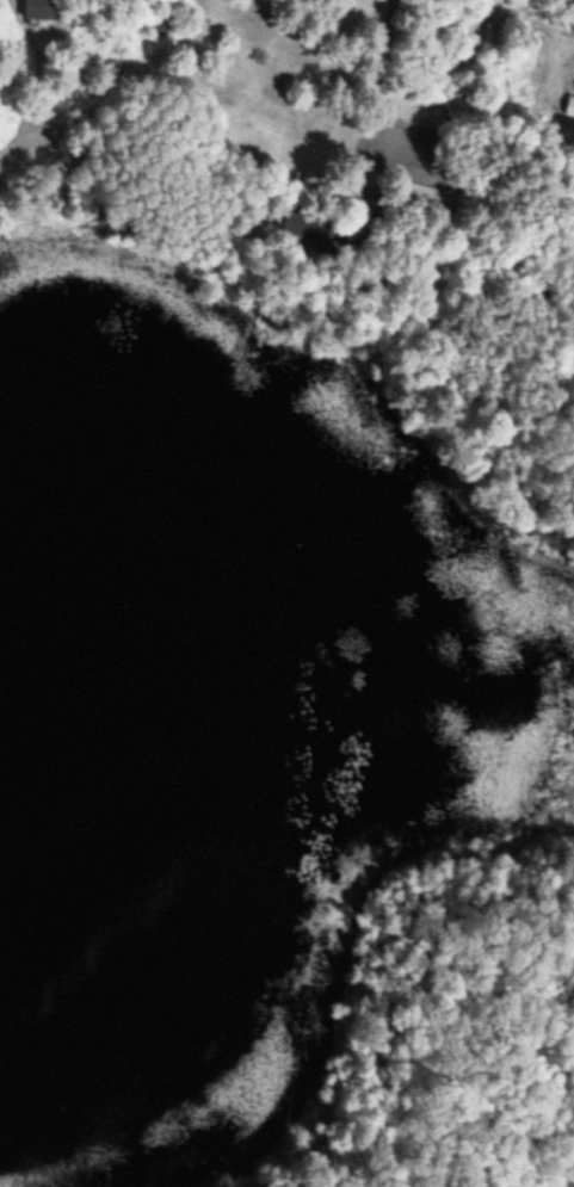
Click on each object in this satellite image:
building: (33, 10)
building: (426, 199)
building: (292, 227)

